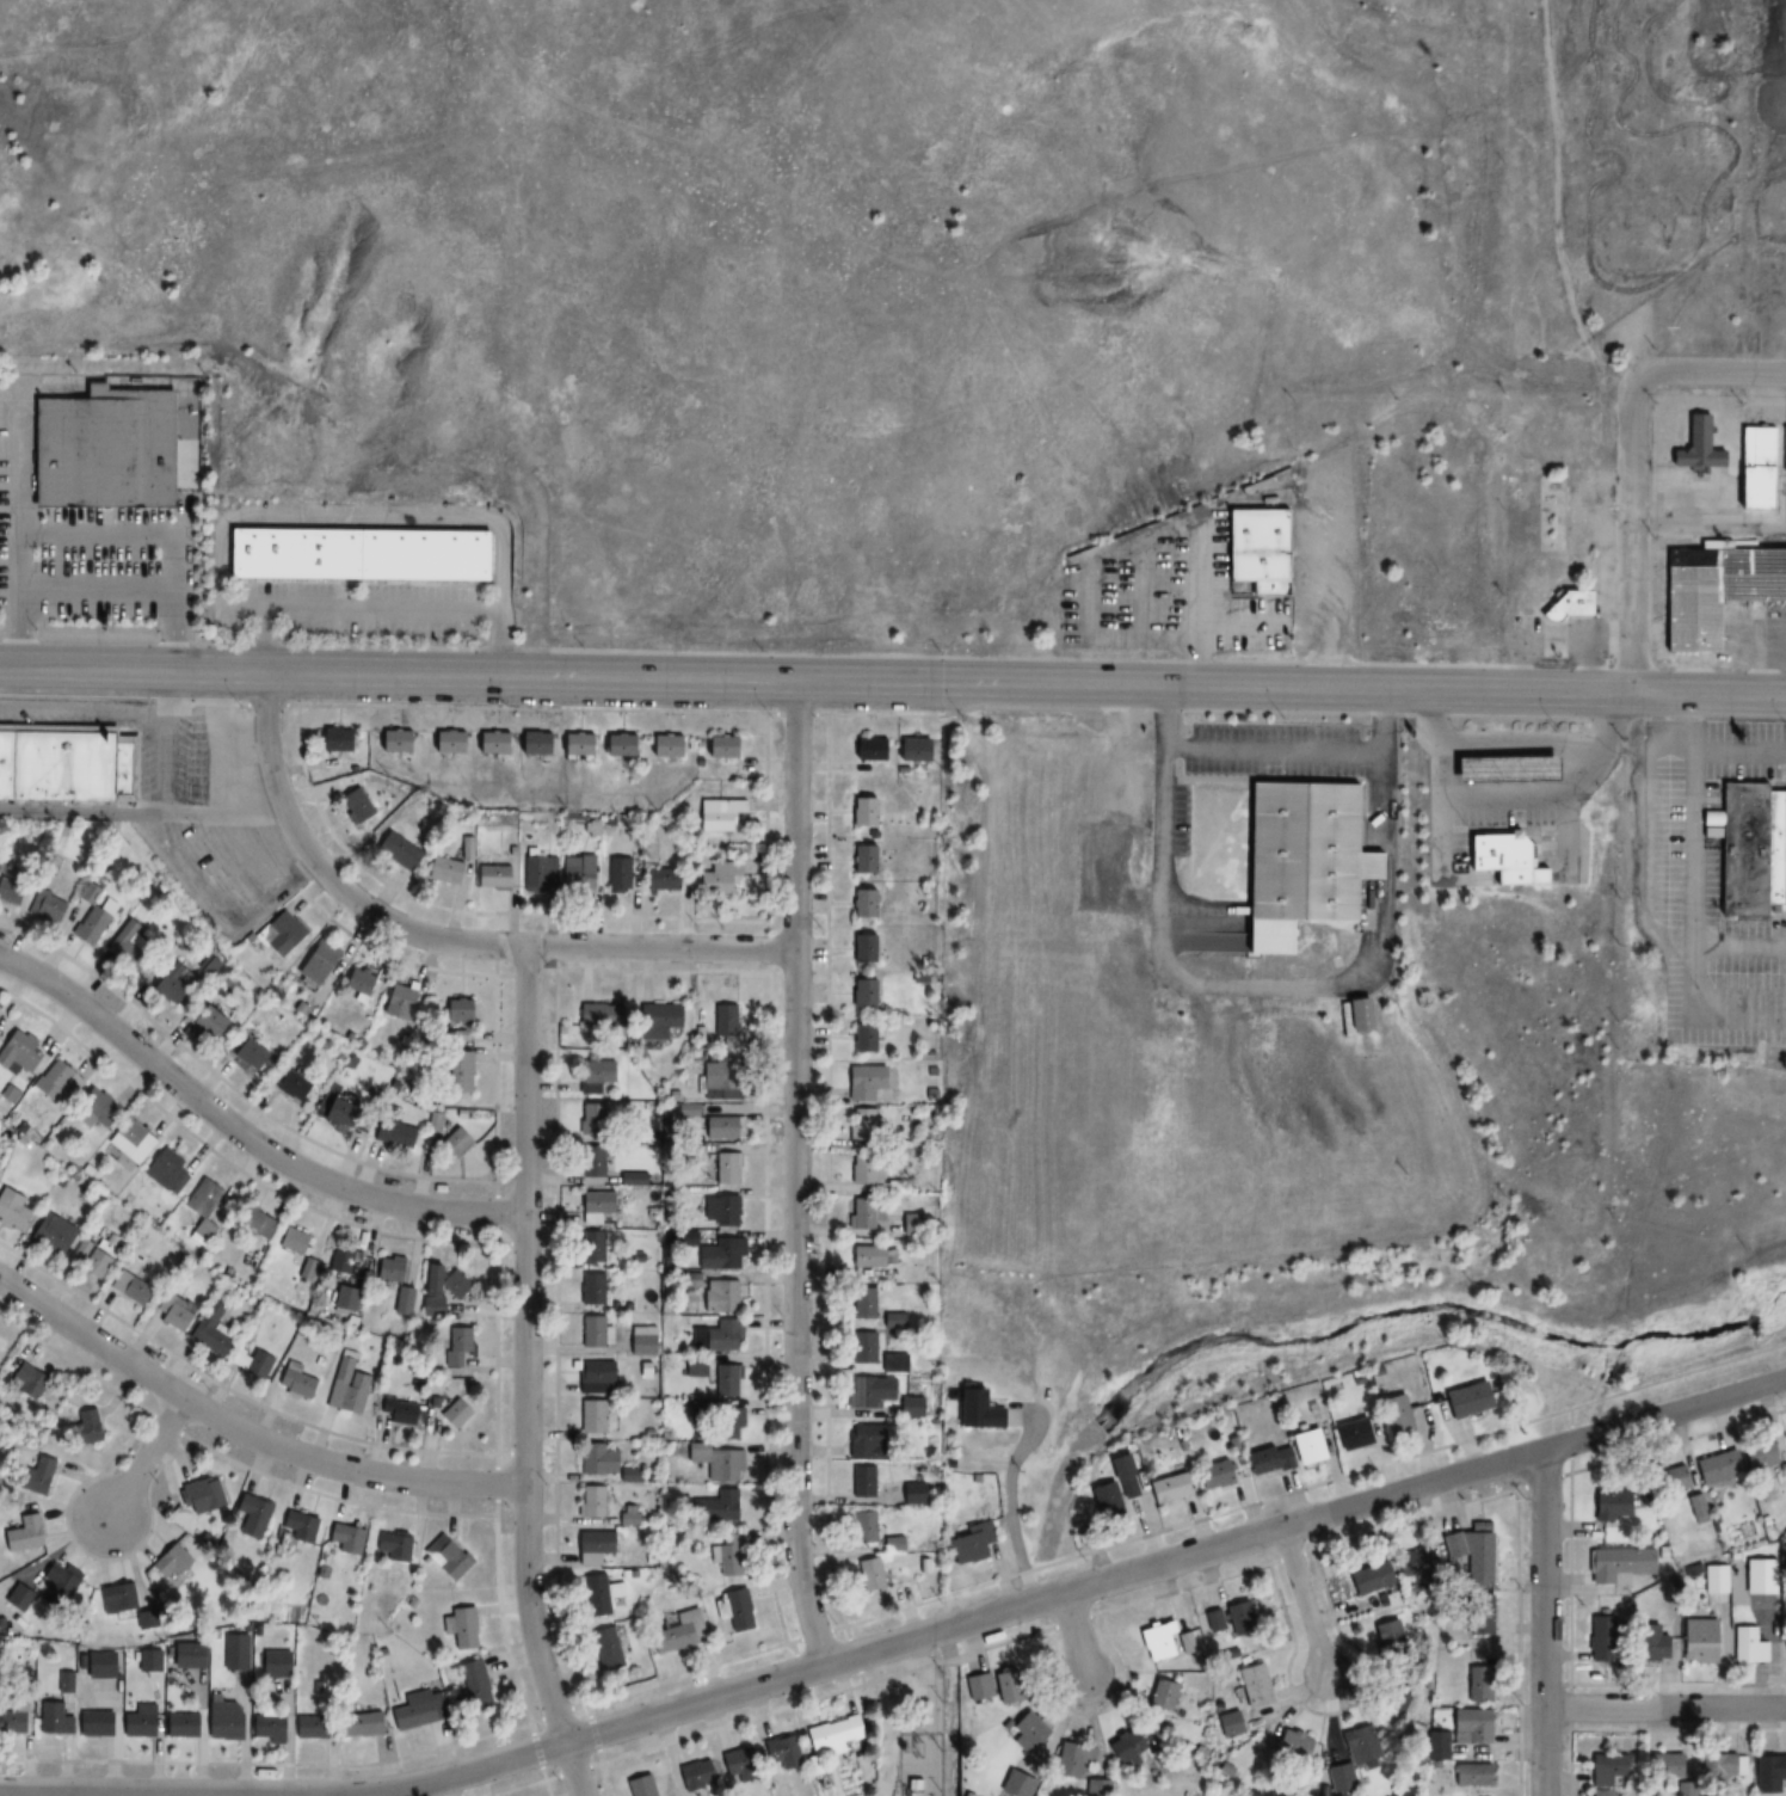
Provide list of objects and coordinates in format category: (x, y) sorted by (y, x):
road: (1710, 375)
building: (1695, 447)
building: (1782, 449)
building: (103, 455)
building: (1755, 468)
road: (1631, 534)
building: (1256, 551)
building: (351, 554)
building: (1713, 590)
building: (1568, 604)
road: (893, 678)
road: (1716, 718)
building: (332, 740)
building: (388, 742)
building: (445, 743)
building: (486, 744)
building: (531, 744)
building: (573, 745)
building: (614, 745)
building: (661, 745)
building: (719, 746)
building: (867, 750)
building: (907, 750)
building: (62, 764)
building: (1498, 769)
gas station: (1498, 769)
building: (1569, 769)
building: (353, 805)
building: (861, 812)
road: (143, 814)
building: (715, 814)
building: (395, 850)
building: (1755, 851)
building: (1302, 854)
building: (862, 860)
building: (1498, 860)
building: (445, 872)
building: (577, 873)
building: (537, 874)
building: (616, 875)
building: (491, 878)
building: (716, 878)
building: (660, 879)
building: (13, 891)
building: (861, 904)
building: (51, 908)
building: (97, 918)
building: (279, 935)
road: (442, 940)
building: (131, 947)
building: (862, 949)
building: (314, 964)
building: (355, 984)
building: (178, 989)
building: (863, 992)
building: (395, 1002)
building: (455, 1010)
building: (1351, 1015)
building: (596, 1016)
building: (215, 1020)
building: (722, 1021)
building: (654, 1023)
building: (1, 1032)
building: (863, 1039)
building: (23, 1052)
building: (253, 1053)
building: (456, 1070)
building: (592, 1076)
building: (716, 1080)
building: (63, 1081)
building: (863, 1081)
building: (290, 1084)
building: (13, 1093)
building: (104, 1113)
building: (344, 1115)
building: (591, 1120)
building: (861, 1124)
building: (719, 1127)
building: (390, 1128)
road: (242, 1133)
building: (136, 1139)
building: (452, 1144)
building: (591, 1162)
building: (722, 1169)
building: (863, 1169)
road: (795, 1171)
building: (168, 1173)
building: (199, 1198)
building: (593, 1205)
building: (12, 1210)
building: (719, 1211)
building: (867, 1212)
building: (911, 1222)
building: (253, 1223)
building: (50, 1234)
building: (290, 1240)
building: (596, 1247)
building: (719, 1253)
building: (90, 1254)
building: (872, 1256)
building: (339, 1261)
building: (388, 1268)
building: (127, 1286)
building: (438, 1286)
building: (590, 1288)
building: (719, 1296)
building: (343, 1297)
building: (401, 1300)
building: (864, 1303)
building: (170, 1311)
building: (208, 1329)
building: (592, 1331)
building: (718, 1336)
building: (640, 1340)
building: (455, 1346)
building: (863, 1347)
building: (250, 1363)
building: (891, 1363)
building: (694, 1367)
road: (525, 1374)
building: (593, 1377)
building: (725, 1379)
building: (24, 1382)
building: (294, 1382)
building: (345, 1385)
building: (860, 1392)
building: (1462, 1400)
building: (909, 1407)
building: (967, 1407)
building: (398, 1411)
building: (452, 1413)
building: (1397, 1415)
building: (590, 1416)
building: (726, 1422)
building: (84, 1426)
road: (244, 1432)
building: (1350, 1434)
building: (864, 1441)
building: (1289, 1451)
building: (1763, 1453)
road: (146, 1458)
building: (596, 1462)
building: (715, 1462)
building: (1716, 1468)
building: (1209, 1474)
building: (33, 1475)
building: (1675, 1477)
building: (860, 1481)
building: (1125, 1487)
building: (1165, 1487)
building: (910, 1491)
building: (202, 1496)
building: (591, 1501)
building: (1102, 1501)
building: (1608, 1503)
building: (713, 1507)
building: (251, 1515)
building: (862, 1525)
building: (296, 1527)
building: (21, 1533)
building: (344, 1539)
building: (968, 1542)
building: (888, 1543)
building: (392, 1546)
building: (591, 1546)
building: (727, 1554)
building: (1470, 1555)
building: (445, 1558)
building: (168, 1561)
building: (1412, 1563)
building: (1618, 1564)
building: (868, 1573)
building: (1759, 1576)
building: (1713, 1577)
building: (1368, 1579)
building: (55, 1586)
building: (597, 1595)
building: (116, 1598)
road: (1305, 1601)
building: (733, 1610)
building: (1477, 1616)
building: (1237, 1618)
building: (1213, 1622)
road: (1546, 1623)
building: (458, 1626)
building: (1386, 1635)
building: (669, 1636)
road: (1077, 1638)
building: (1599, 1638)
road: (900, 1641)
building: (1153, 1641)
building: (1698, 1641)
building: (1185, 1643)
building: (1651, 1644)
building: (1745, 1646)
building: (1784, 1646)
building: (605, 1647)
building: (233, 1652)
building: (97, 1665)
building: (272, 1665)
building: (1477, 1683)
building: (472, 1685)
building: (1251, 1685)
building: (977, 1686)
building: (1160, 1696)
building: (1388, 1705)
building: (414, 1710)
road: (1667, 1710)
building: (140, 1716)
building: (50, 1717)
building: (220, 1721)
building: (11, 1722)
building: (93, 1723)
building: (358, 1723)
building: (1228, 1724)
building: (180, 1726)
building: (1470, 1726)
building: (266, 1727)
building: (308, 1727)
building: (1024, 1732)
building: (829, 1737)
building: (1293, 1746)
building: (1437, 1746)
building: (1123, 1747)
building: (782, 1751)
building: (1353, 1757)
building: (1072, 1760)
building: (1661, 1765)
building: (715, 1770)
building: (1606, 1770)
building: (1719, 1771)
building: (1769, 1773)
building: (925, 1775)
building: (1470, 1775)
building: (1016, 1784)
building: (639, 1786)
building: (1096, 1788)
building: (1601, 1792)
building: (1476, 1795)

